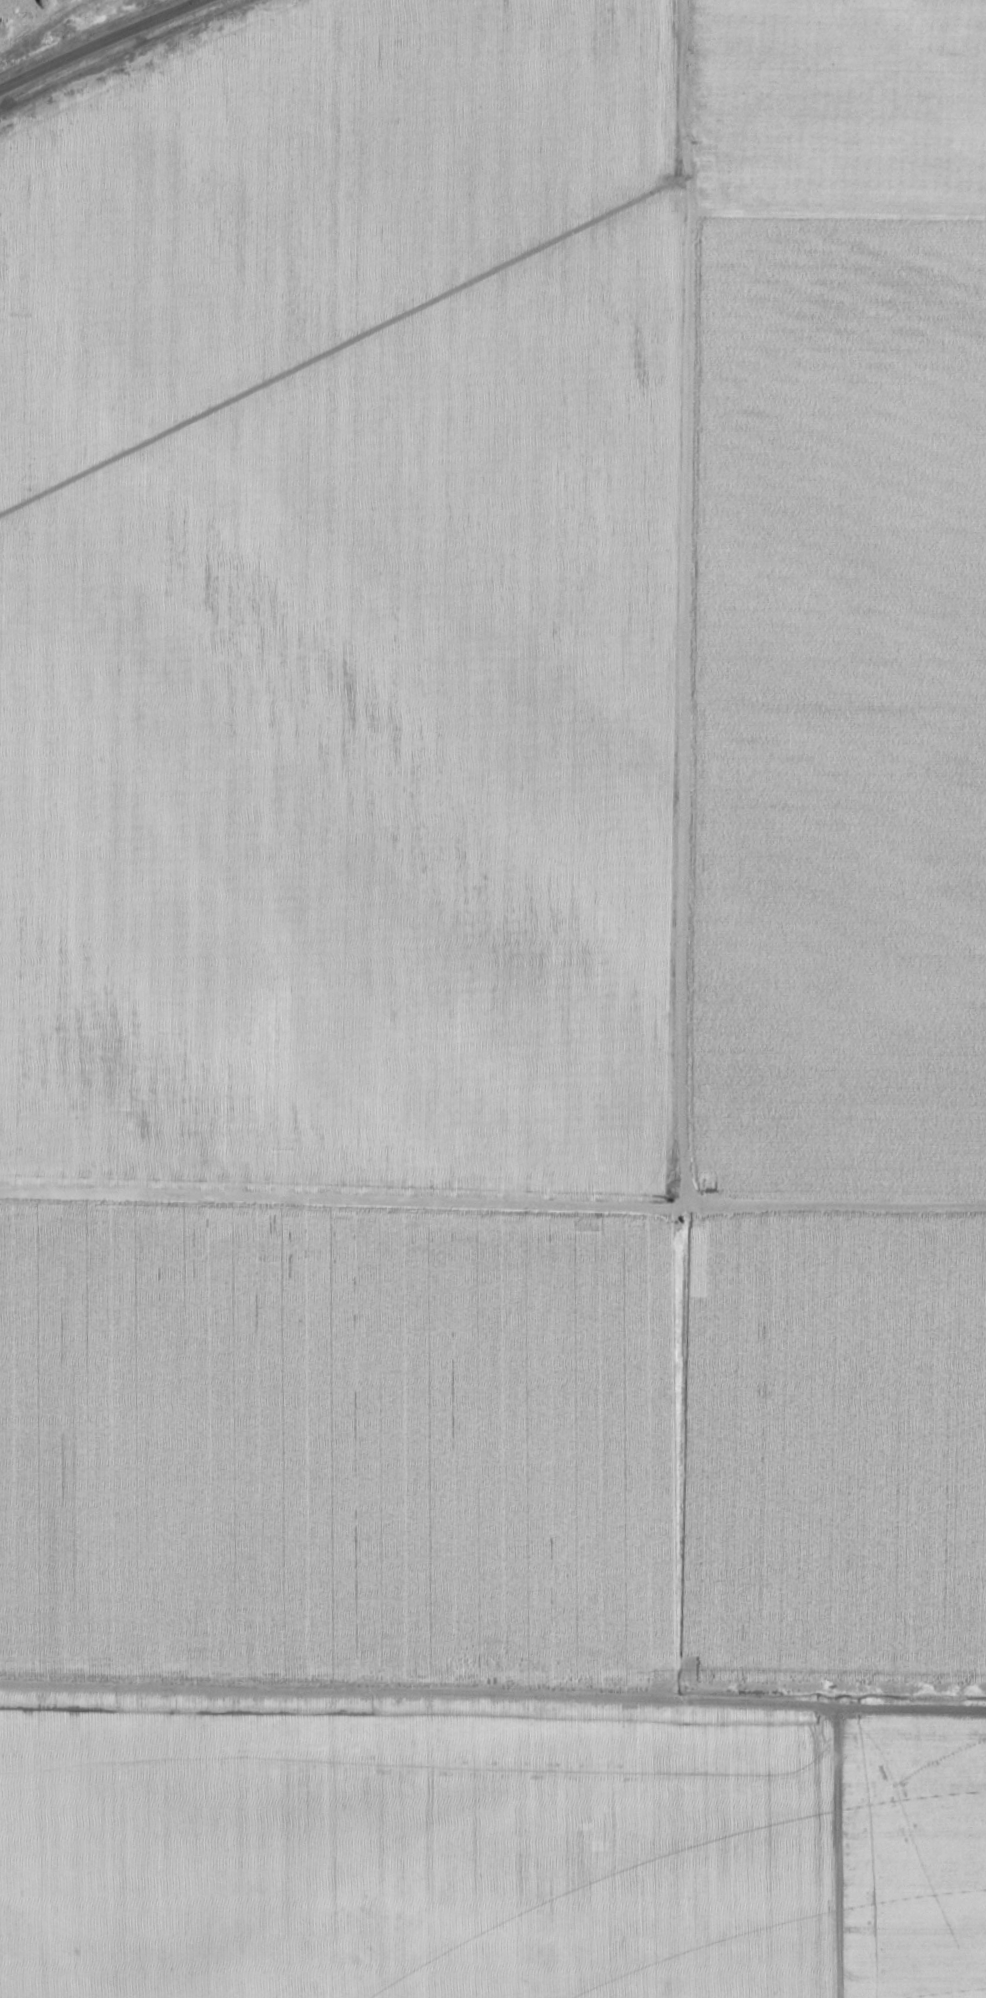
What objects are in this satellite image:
road: (99, 43)
road: (686, 709)
road: (422, 1696)

